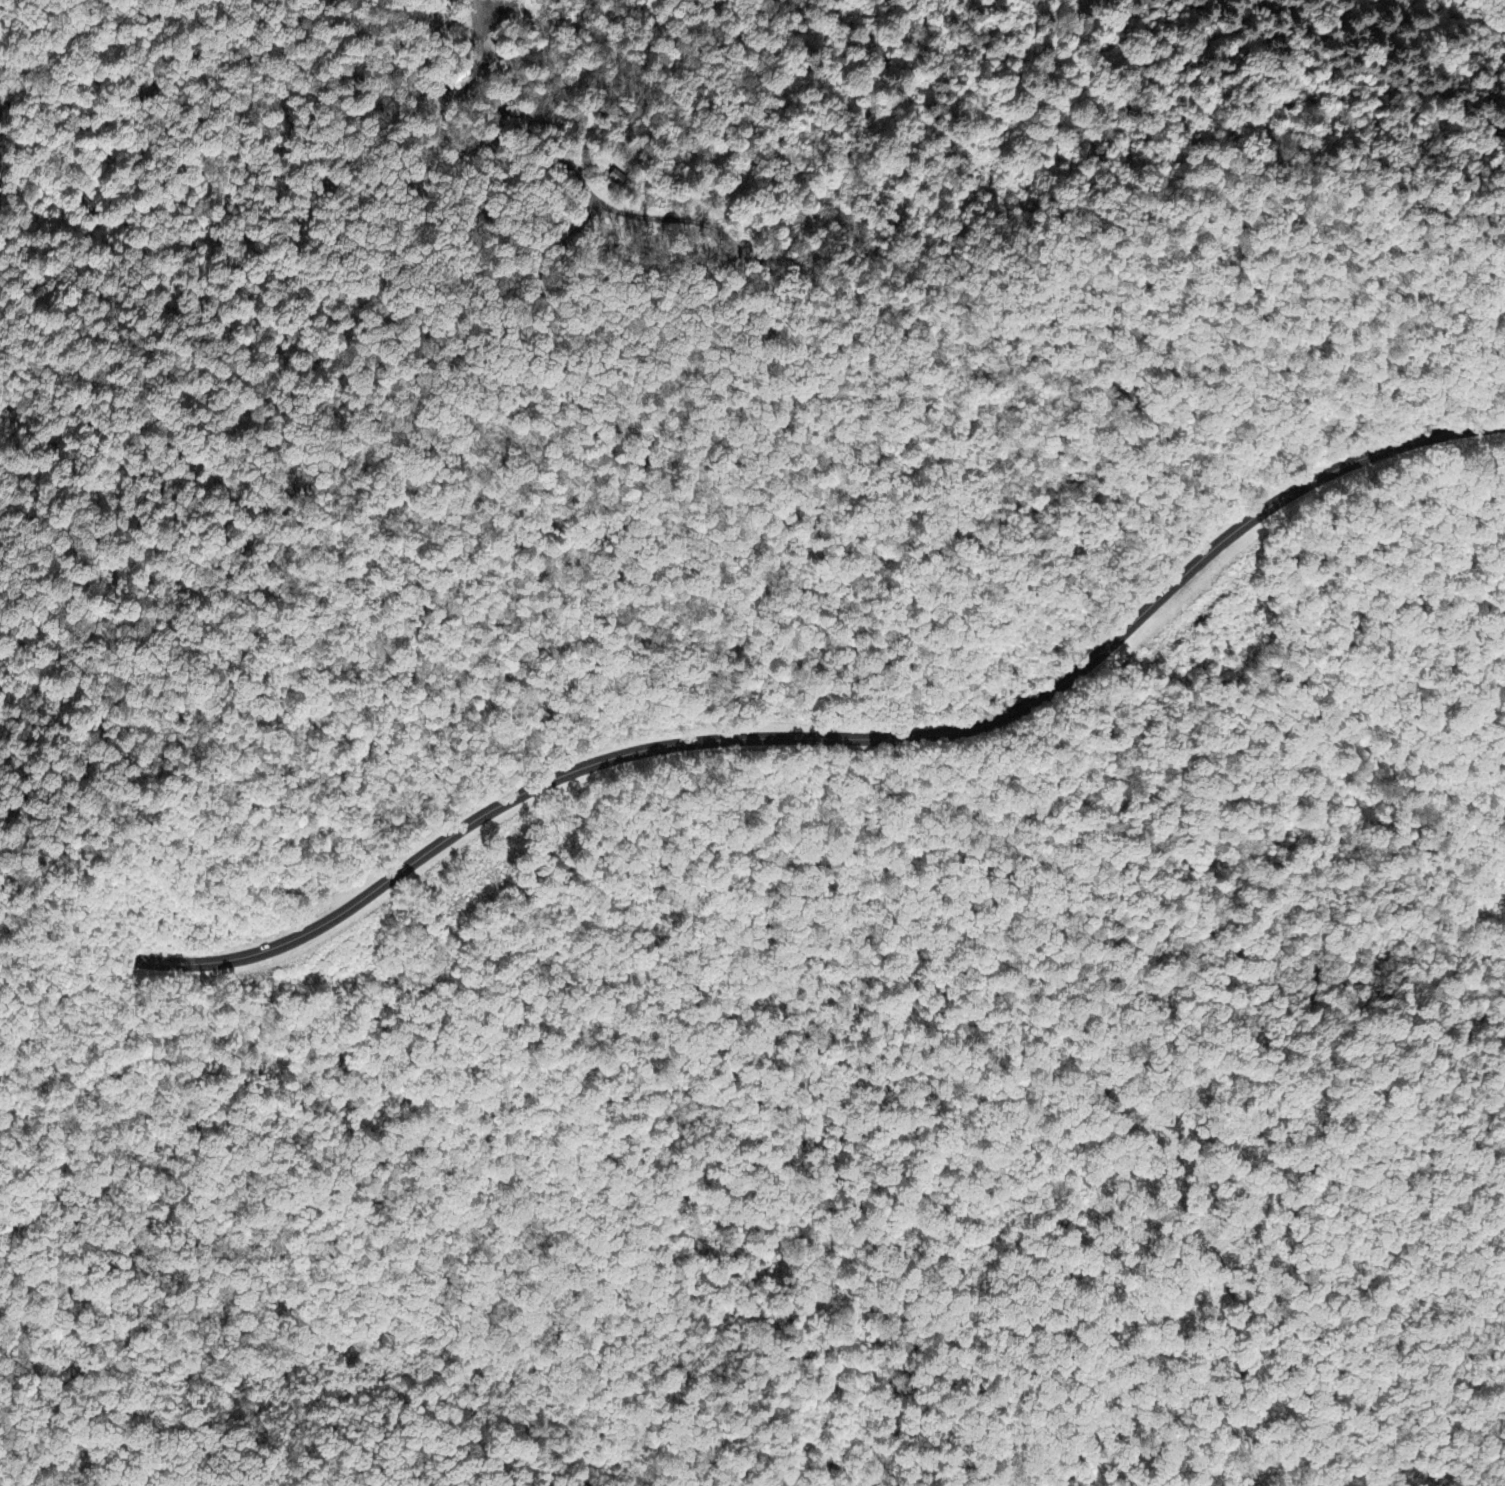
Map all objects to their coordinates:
road: (838, 737)

